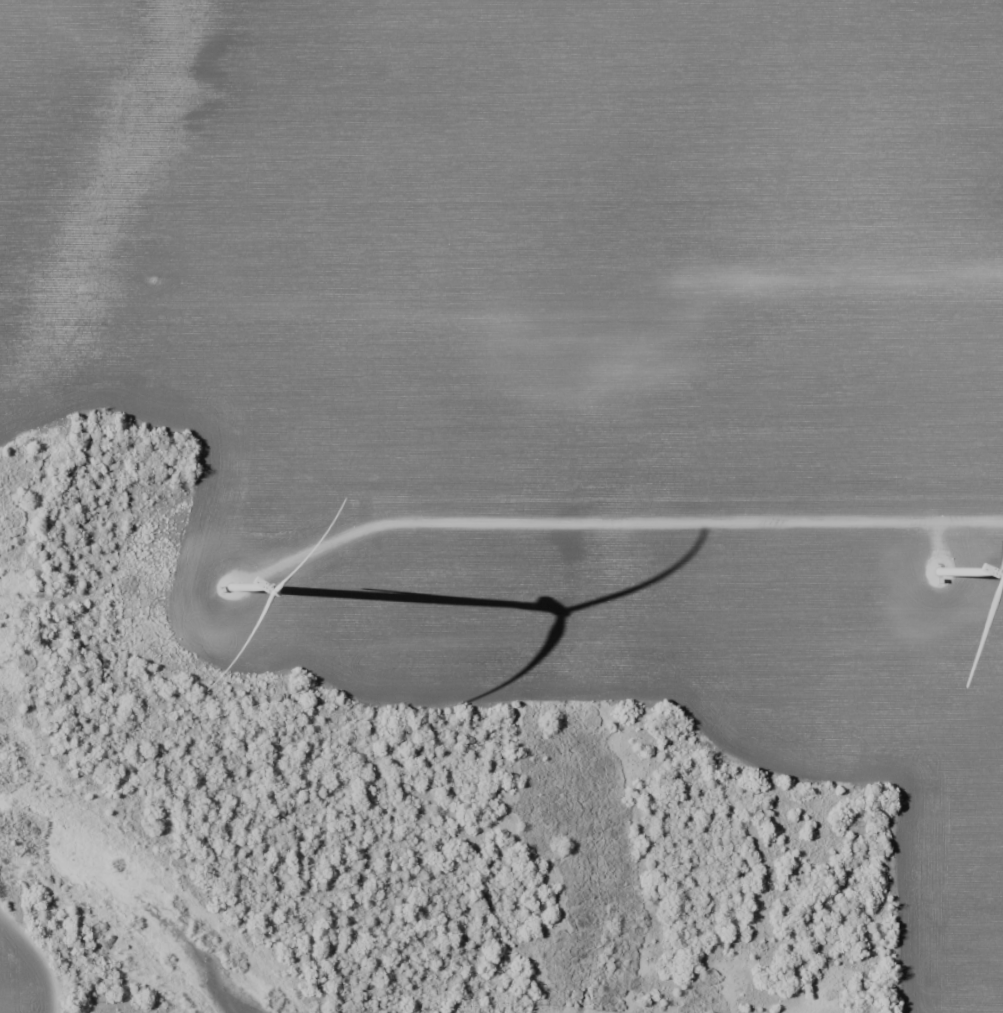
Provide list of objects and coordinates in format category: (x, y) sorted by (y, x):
wind turbine: (942, 571)
wind turbine: (235, 584)

